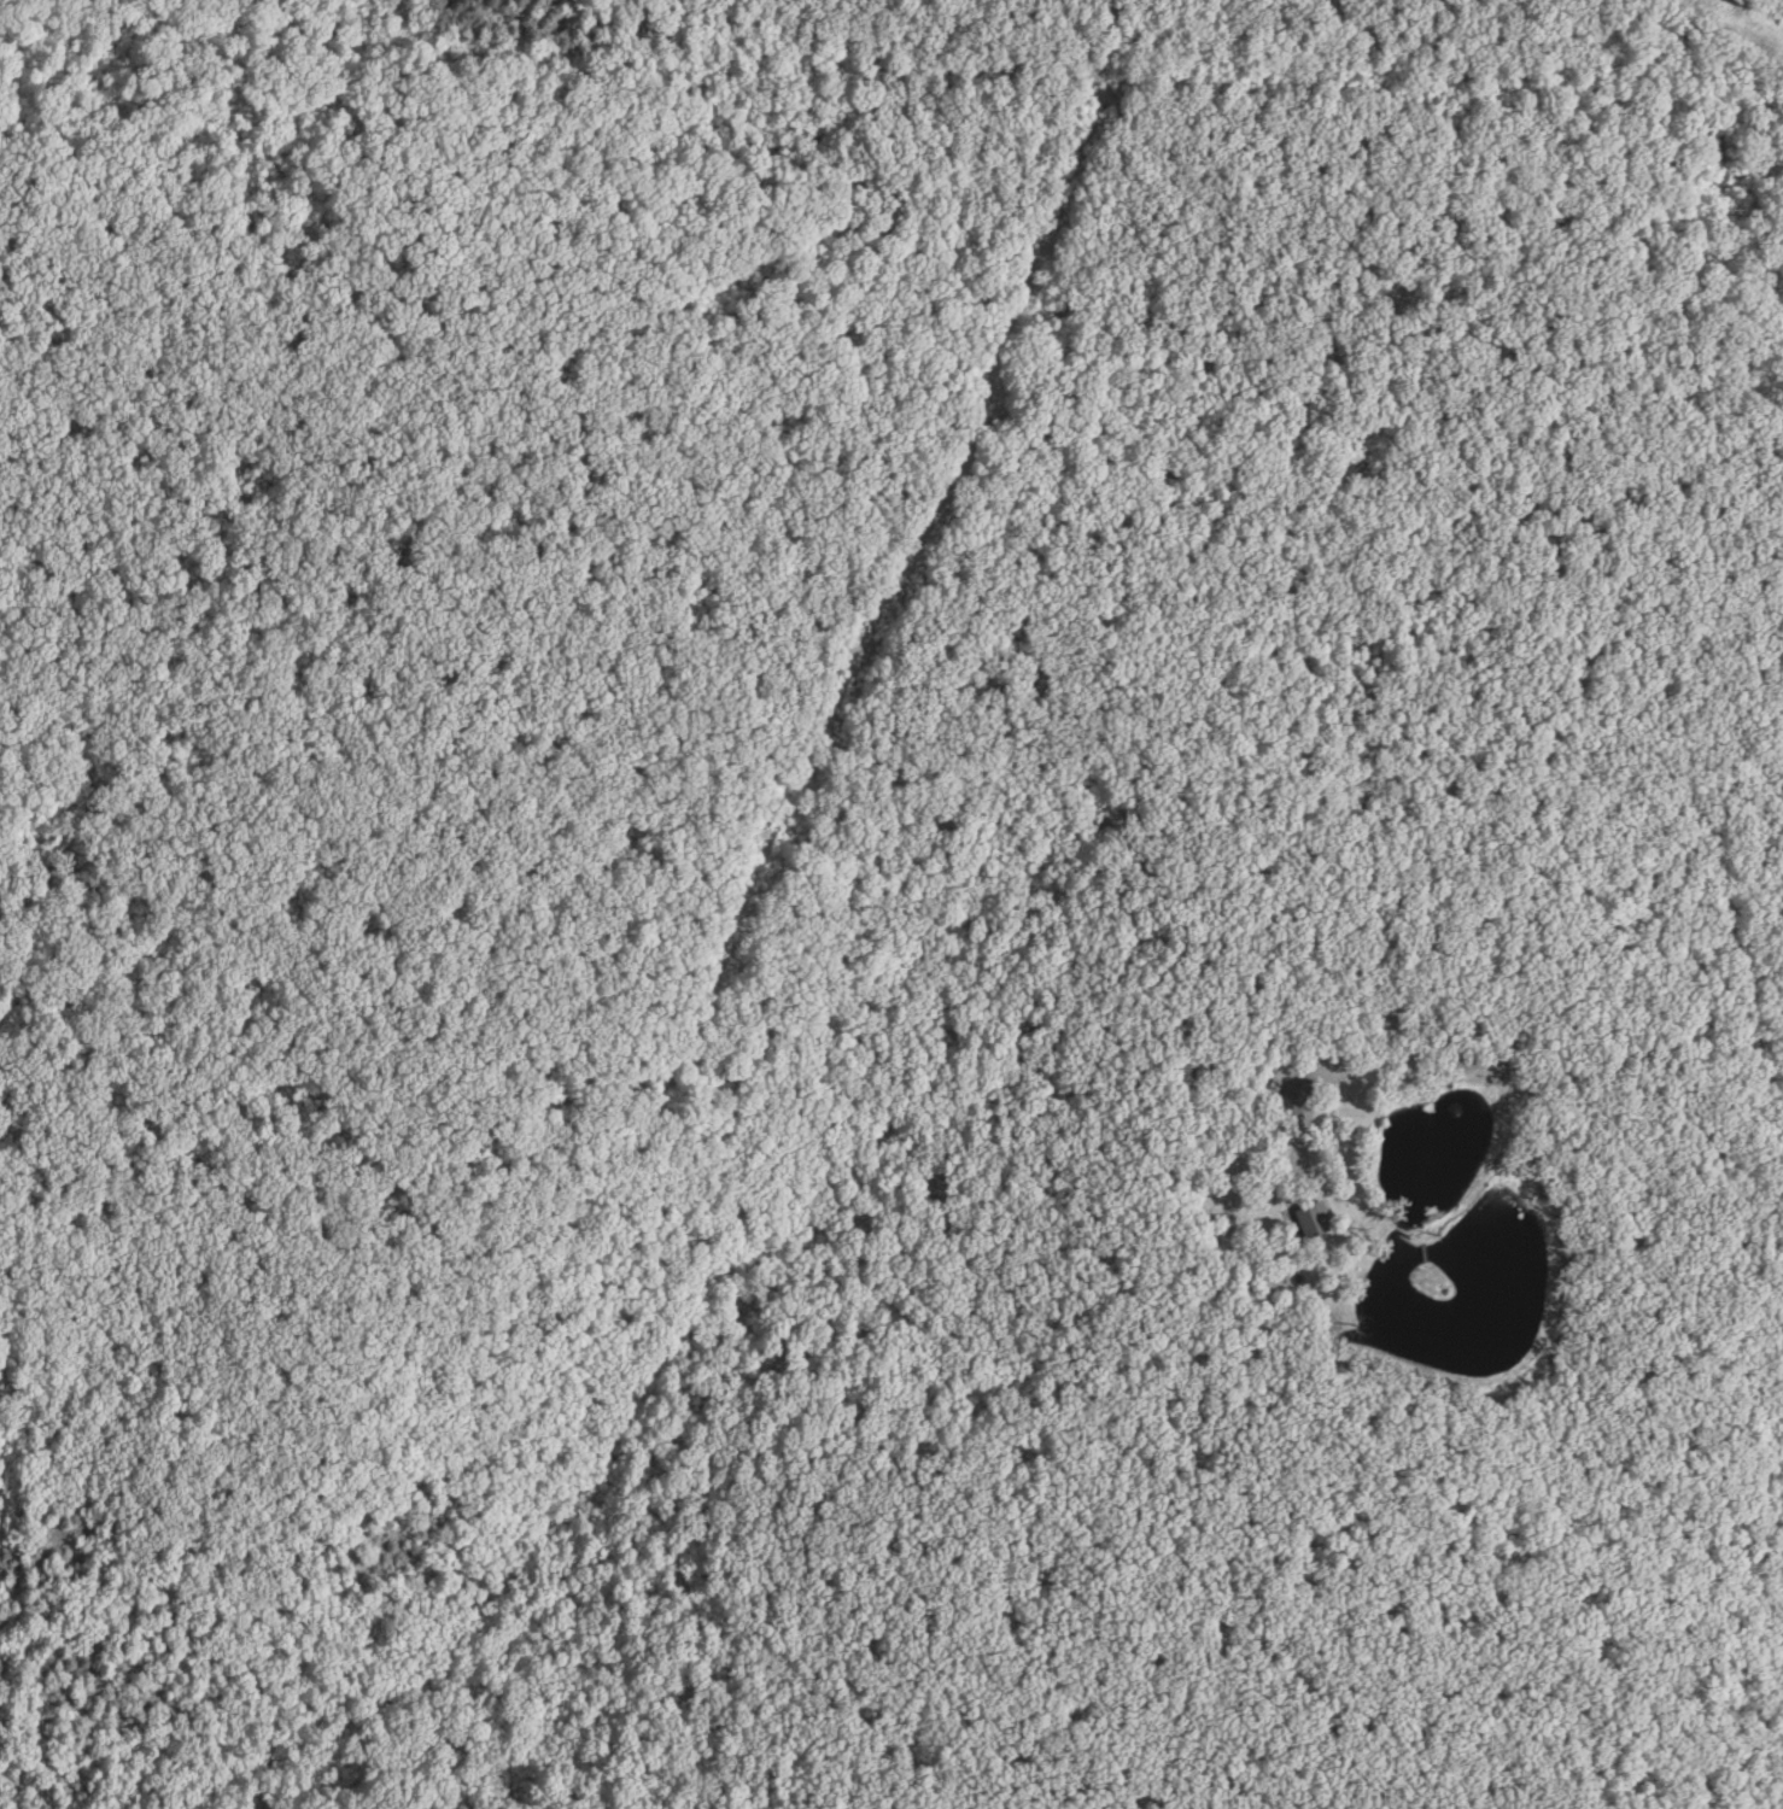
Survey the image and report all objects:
building: (1296, 1097)

